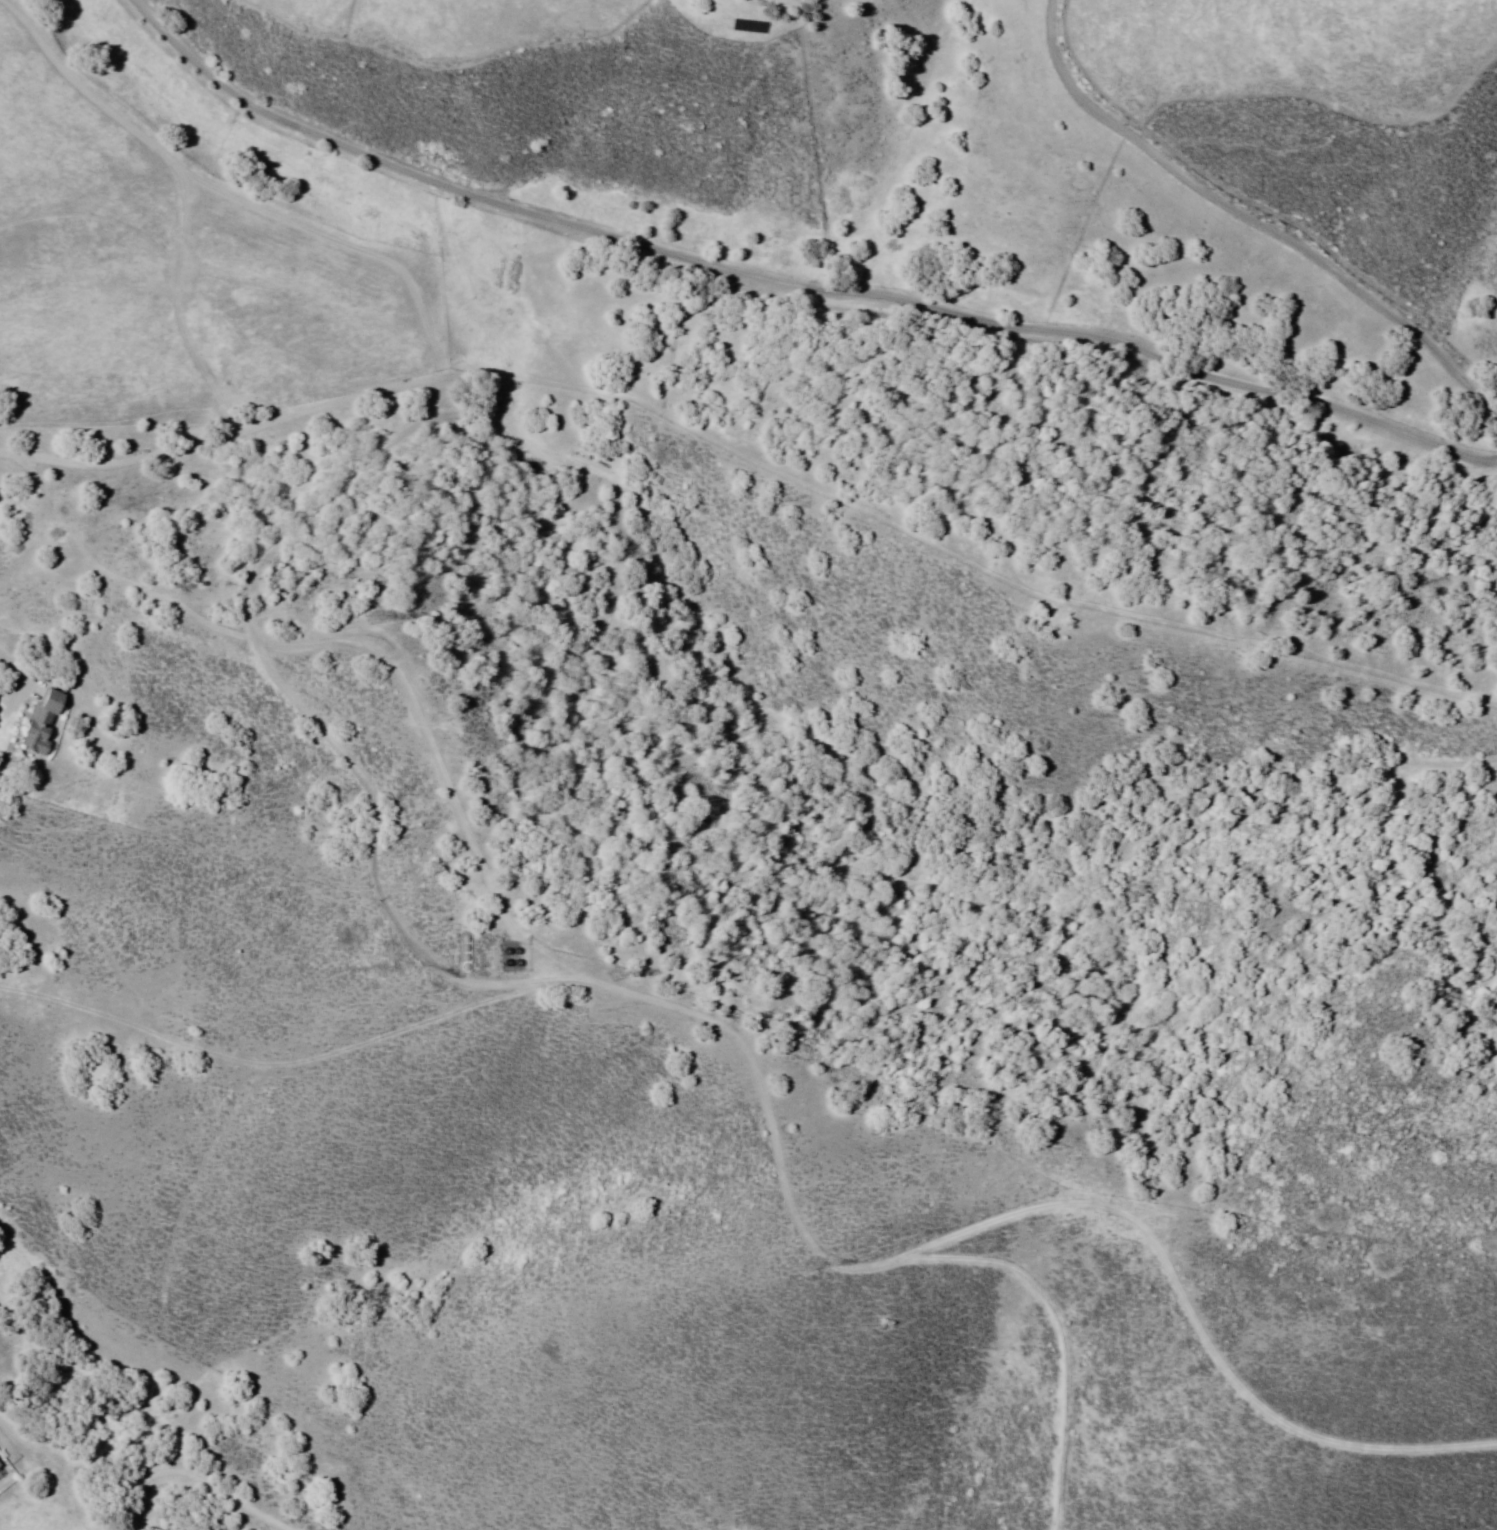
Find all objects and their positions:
building: (750, 27)
road: (210, 74)
road: (1220, 405)
building: (369, 615)
building: (41, 723)
road: (594, 979)

